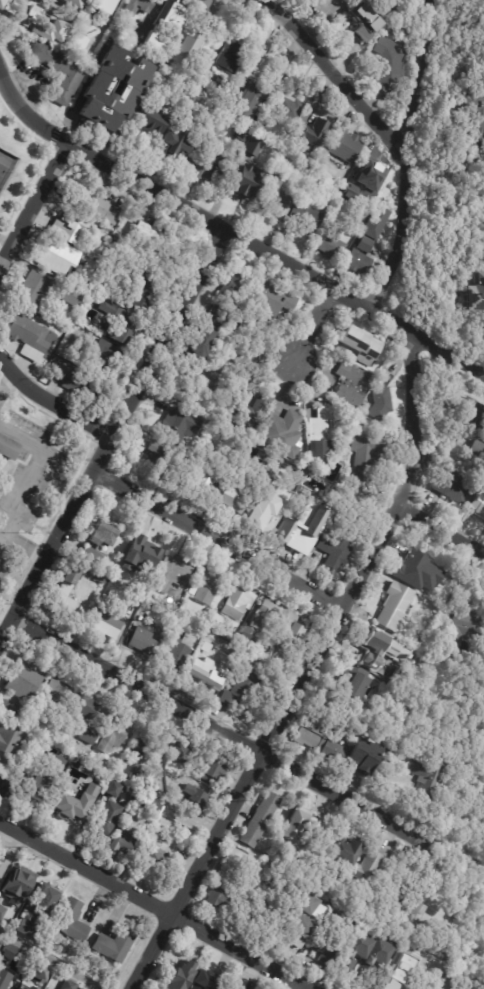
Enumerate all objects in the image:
building: (483, 0)
building: (189, 1)
building: (1, 2)
building: (71, 3)
building: (204, 3)
building: (98, 5)
building: (137, 6)
building: (214, 7)
building: (396, 8)
road: (152, 13)
building: (364, 22)
building: (28, 25)
building: (163, 30)
building: (95, 36)
building: (193, 37)
building: (482, 37)
building: (229, 57)
building: (184, 63)
building: (389, 64)
building: (57, 72)
building: (248, 72)
road: (338, 74)
building: (219, 85)
building: (125, 90)
building: (248, 106)
building: (289, 107)
building: (473, 108)
building: (147, 122)
building: (308, 134)
building: (172, 146)
building: (344, 146)
building: (252, 149)
road: (405, 158)
building: (207, 163)
park: (5, 166)
park: (3, 172)
building: (372, 174)
building: (245, 182)
building: (351, 186)
building: (274, 198)
road: (33, 201)
building: (89, 201)
building: (111, 217)
building: (303, 217)
building: (376, 222)
building: (73, 227)
road: (232, 233)
building: (156, 238)
building: (365, 244)
road: (4, 245)
building: (327, 246)
building: (56, 257)
building: (108, 258)
building: (356, 263)
building: (258, 271)
building: (230, 284)
building: (473, 289)
building: (31, 290)
building: (141, 292)
building: (67, 298)
building: (270, 298)
building: (215, 314)
road: (315, 324)
building: (128, 325)
building: (25, 336)
building: (197, 344)
building: (357, 344)
building: (100, 358)
building: (221, 371)
road: (4, 376)
building: (201, 379)
building: (351, 383)
building: (80, 386)
building: (380, 398)
road: (51, 401)
building: (365, 405)
building: (346, 410)
building: (473, 411)
building: (246, 416)
building: (177, 424)
building: (280, 432)
building: (319, 434)
road: (110, 435)
building: (7, 448)
building: (477, 449)
road: (45, 454)
building: (151, 459)
building: (365, 460)
building: (195, 479)
parking lot: (24, 484)
building: (451, 485)
road: (21, 496)
building: (241, 498)
building: (477, 503)
road: (441, 530)
building: (289, 531)
building: (101, 535)
road: (218, 539)
road: (23, 549)
building: (332, 550)
building: (91, 556)
building: (140, 558)
building: (425, 570)
building: (406, 571)
building: (170, 573)
building: (99, 578)
building: (205, 586)
building: (190, 590)
building: (63, 594)
building: (237, 603)
building: (393, 608)
building: (133, 621)
building: (105, 624)
building: (270, 624)
building: (462, 631)
building: (142, 641)
building: (369, 648)
building: (175, 650)
building: (201, 670)
road: (306, 671)
building: (23, 682)
building: (350, 683)
building: (243, 689)
building: (56, 695)
building: (83, 705)
building: (8, 710)
road: (214, 727)
building: (307, 732)
building: (44, 734)
building: (89, 734)
building: (112, 735)
building: (8, 739)
building: (329, 750)
building: (180, 751)
building: (137, 755)
building: (361, 757)
building: (385, 763)
building: (74, 764)
building: (213, 769)
building: (41, 777)
building: (425, 777)
building: (150, 778)
building: (4, 788)
building: (113, 788)
building: (195, 798)
building: (150, 807)
building: (71, 811)
building: (107, 817)
building: (257, 819)
building: (298, 825)
building: (122, 841)
building: (341, 852)
building: (181, 857)
building: (156, 862)
building: (2, 866)
building: (365, 866)
building: (226, 871)
building: (330, 884)
building: (16, 886)
building: (212, 894)
building: (409, 895)
building: (43, 901)
road: (154, 903)
building: (1, 912)
building: (299, 919)
building: (70, 922)
building: (20, 927)
building: (443, 940)
building: (112, 946)
building: (323, 949)
building: (352, 953)
building: (375, 954)
building: (83, 956)
building: (12, 958)
road: (54, 958)
building: (40, 973)
building: (179, 976)
building: (393, 979)
building: (3, 980)
building: (204, 981)
building: (25, 984)
building: (450, 984)
building: (67, 985)
building: (230, 987)
building: (79, 988)

